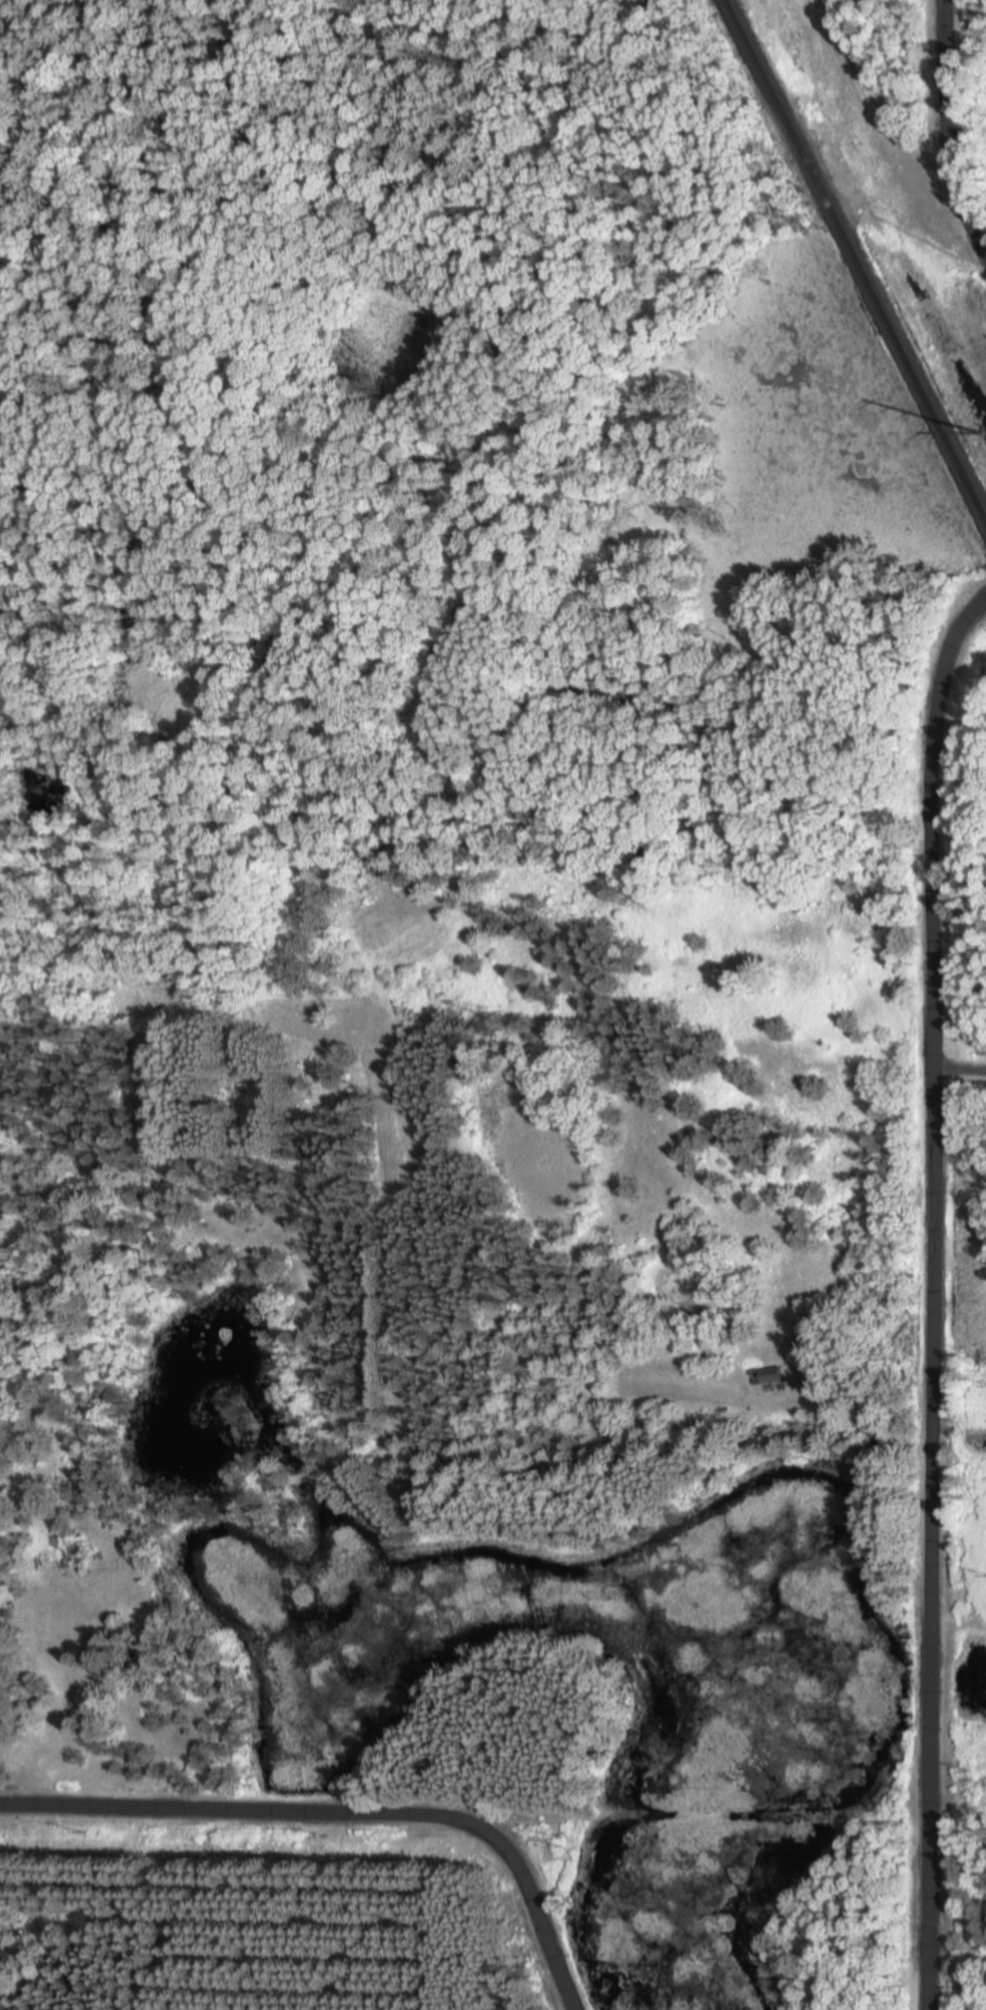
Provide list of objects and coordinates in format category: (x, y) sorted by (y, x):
road: (947, 130)
railway: (855, 262)
power tower: (980, 434)
road: (931, 1297)
building: (770, 1378)
road: (346, 1810)

